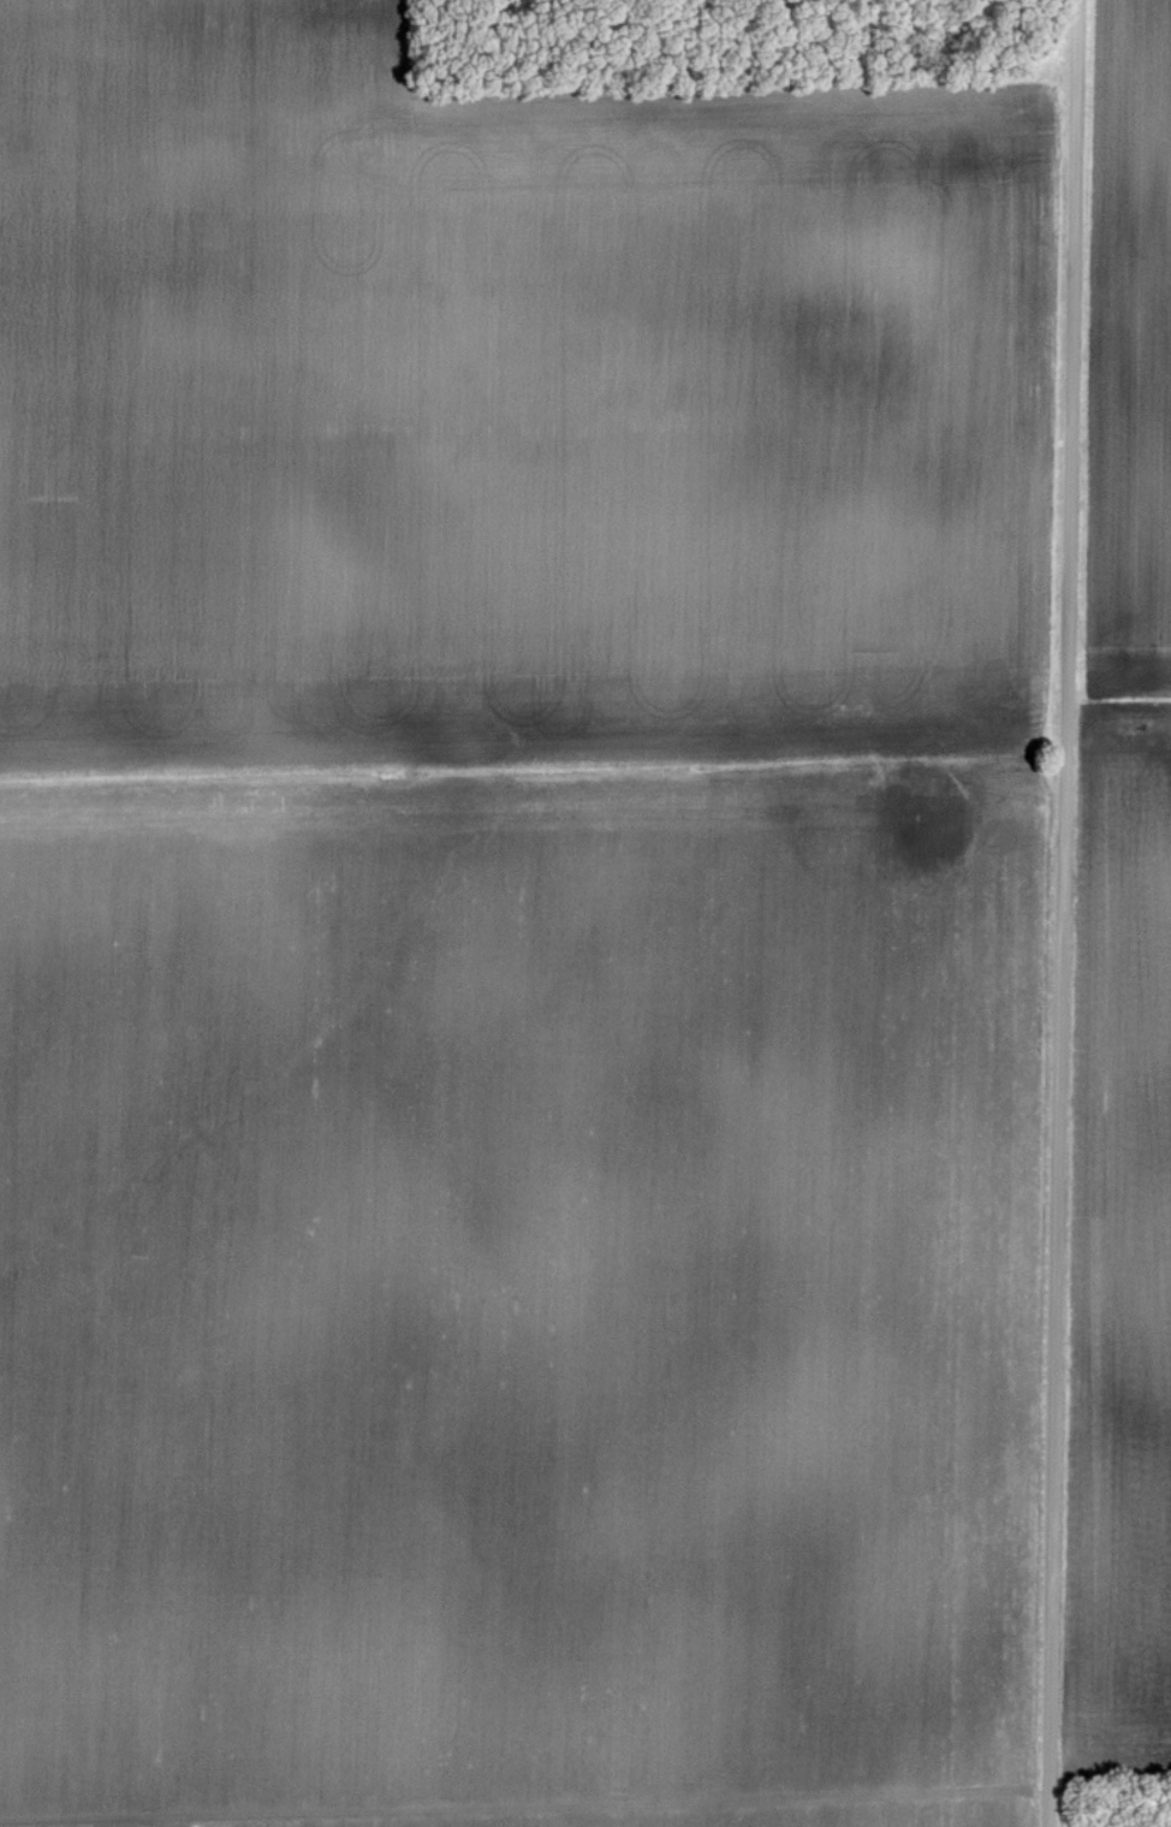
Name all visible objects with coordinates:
road: (1063, 913)
crop: (515, 937)

